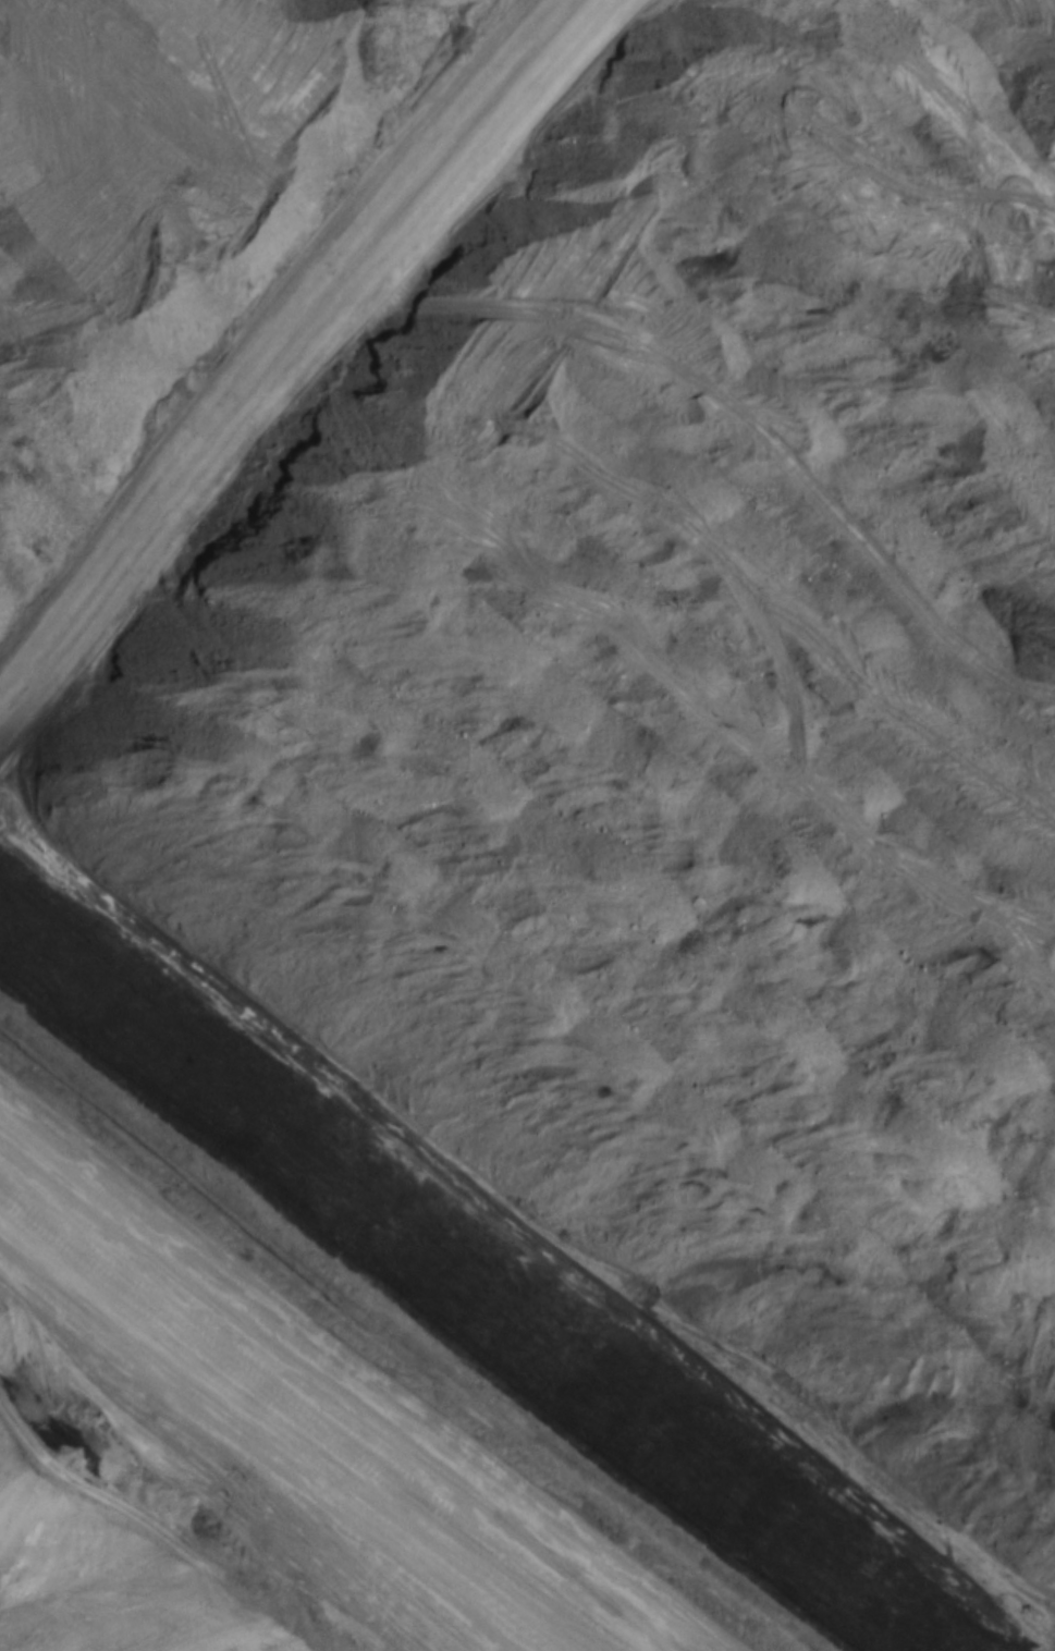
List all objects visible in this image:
road: (289, 1366)

